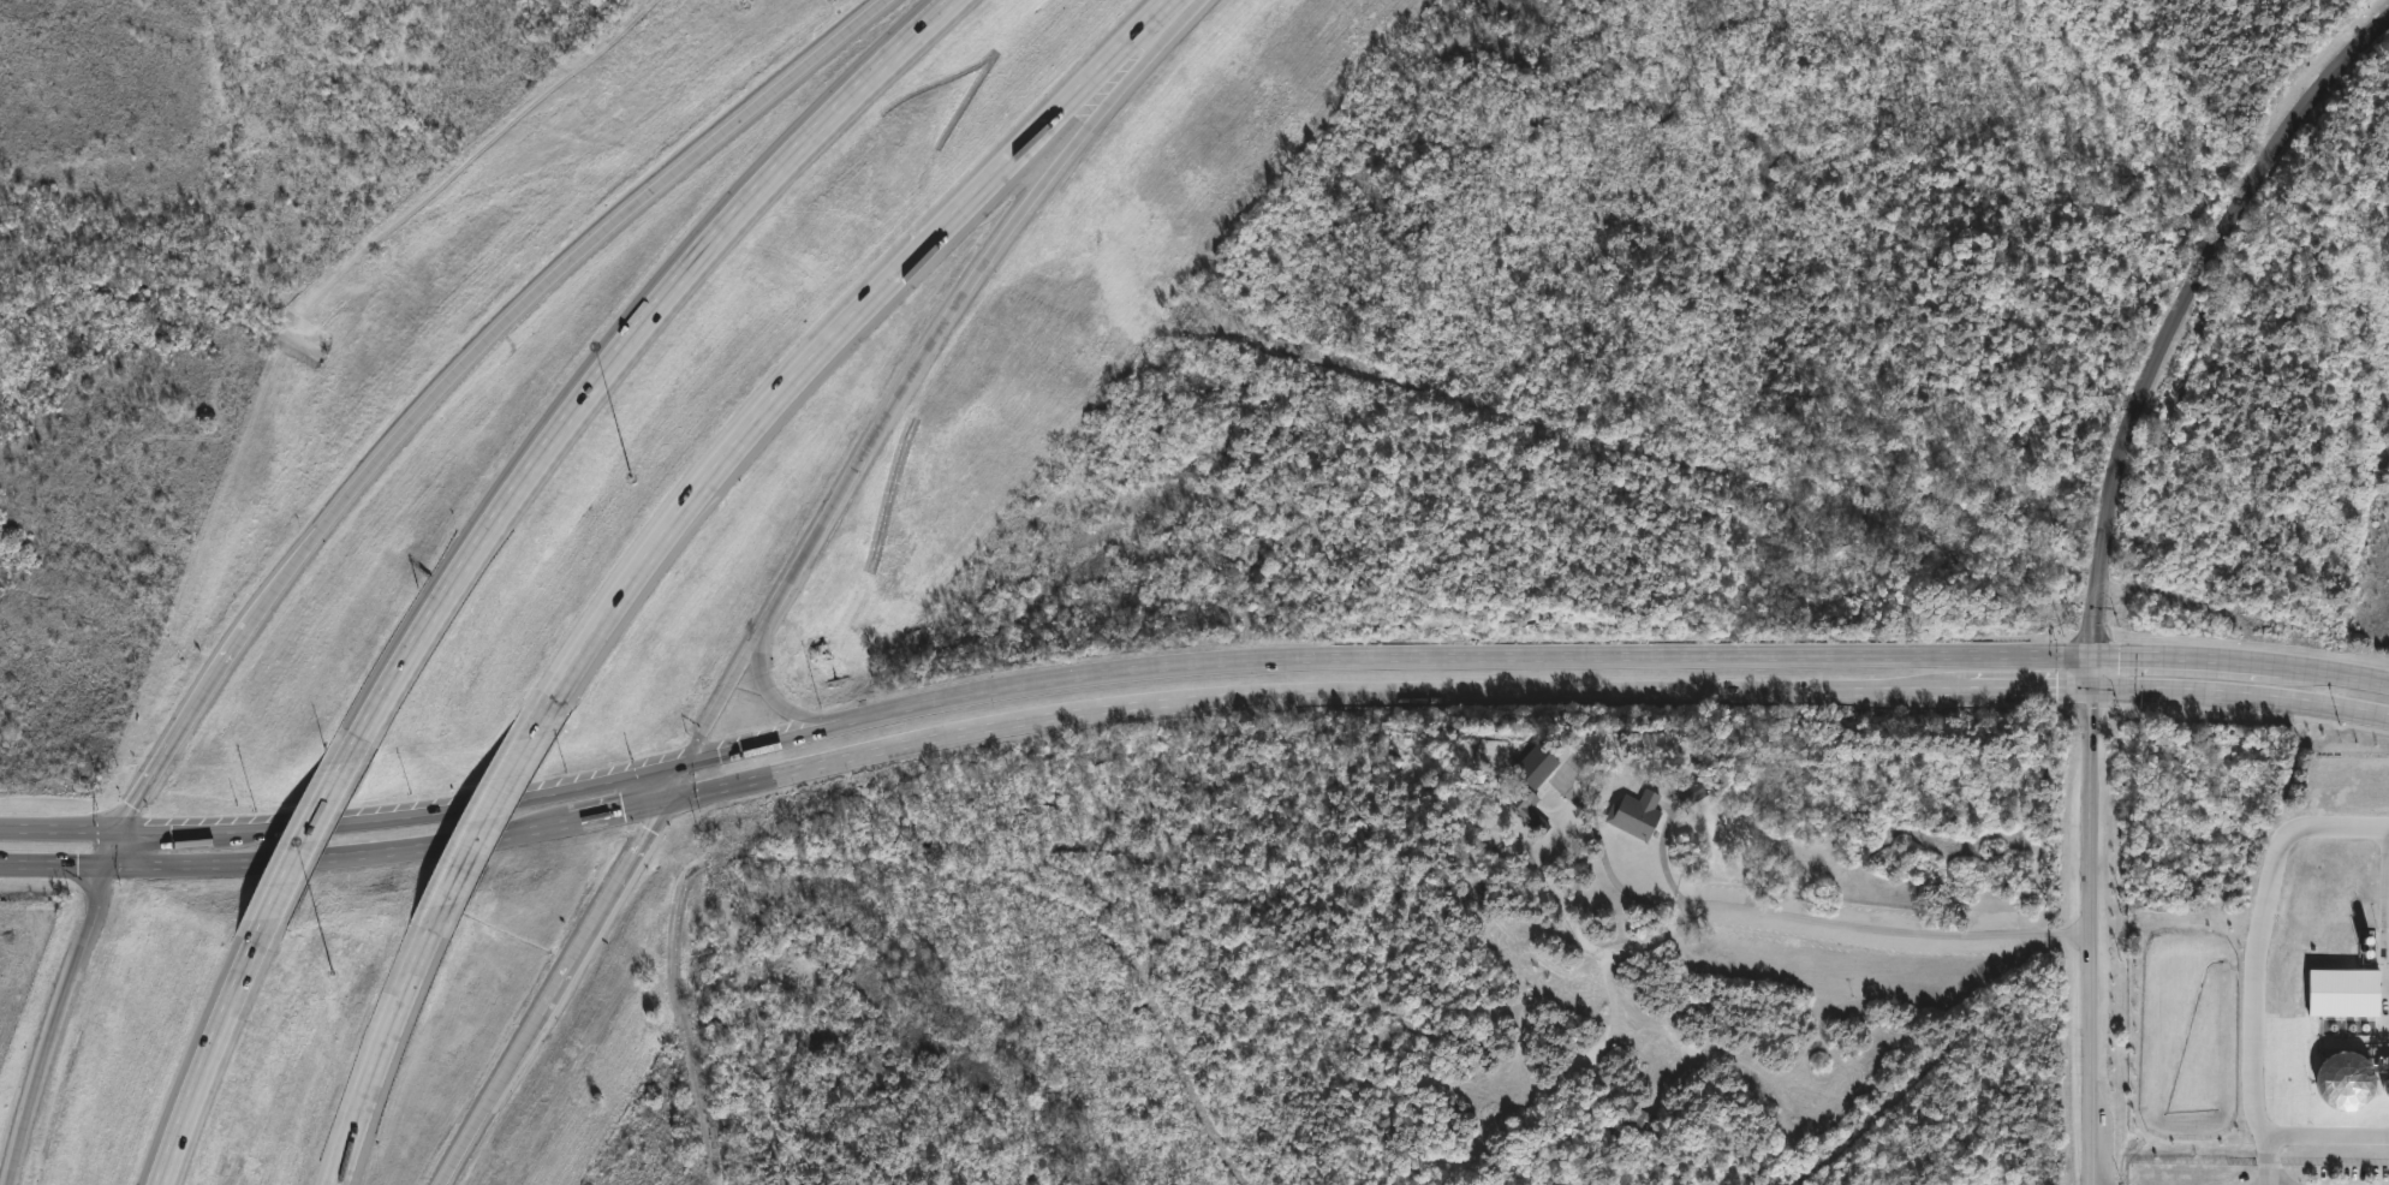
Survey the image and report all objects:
road: (1149, 17)
road: (1109, 81)
park: (184, 284)
road: (541, 285)
park: (180, 290)
road: (2170, 318)
road: (616, 355)
road: (810, 358)
road: (872, 433)
street lamp: (633, 476)
road: (1687, 655)
traffic signals: (2095, 655)
road: (1525, 691)
traffic signals: (2095, 691)
road: (933, 707)
road: (786, 709)
road: (181, 722)
road: (781, 740)
traffic signals: (685, 758)
building: (1536, 766)
road: (677, 778)
building: (1694, 791)
traffic signals: (668, 798)
road: (459, 805)
building: (1523, 805)
road: (616, 809)
building: (1636, 814)
road: (491, 815)
road: (60, 827)
traffic signals: (120, 829)
road: (174, 829)
road: (310, 840)
road: (114, 846)
road: (338, 853)
road: (1609, 858)
road: (54, 862)
traffic signals: (108, 863)
road: (2388, 879)
road: (603, 906)
road: (1887, 929)
road: (2095, 937)
road: (2259, 960)
road: (73, 961)
street lamp: (334, 973)
building: (2345, 992)
road: (385, 1043)
road: (209, 1049)
building: (2346, 1079)
road: (487, 1098)
road: (24, 1123)
building: (1639, 1123)
road: (2321, 1132)

